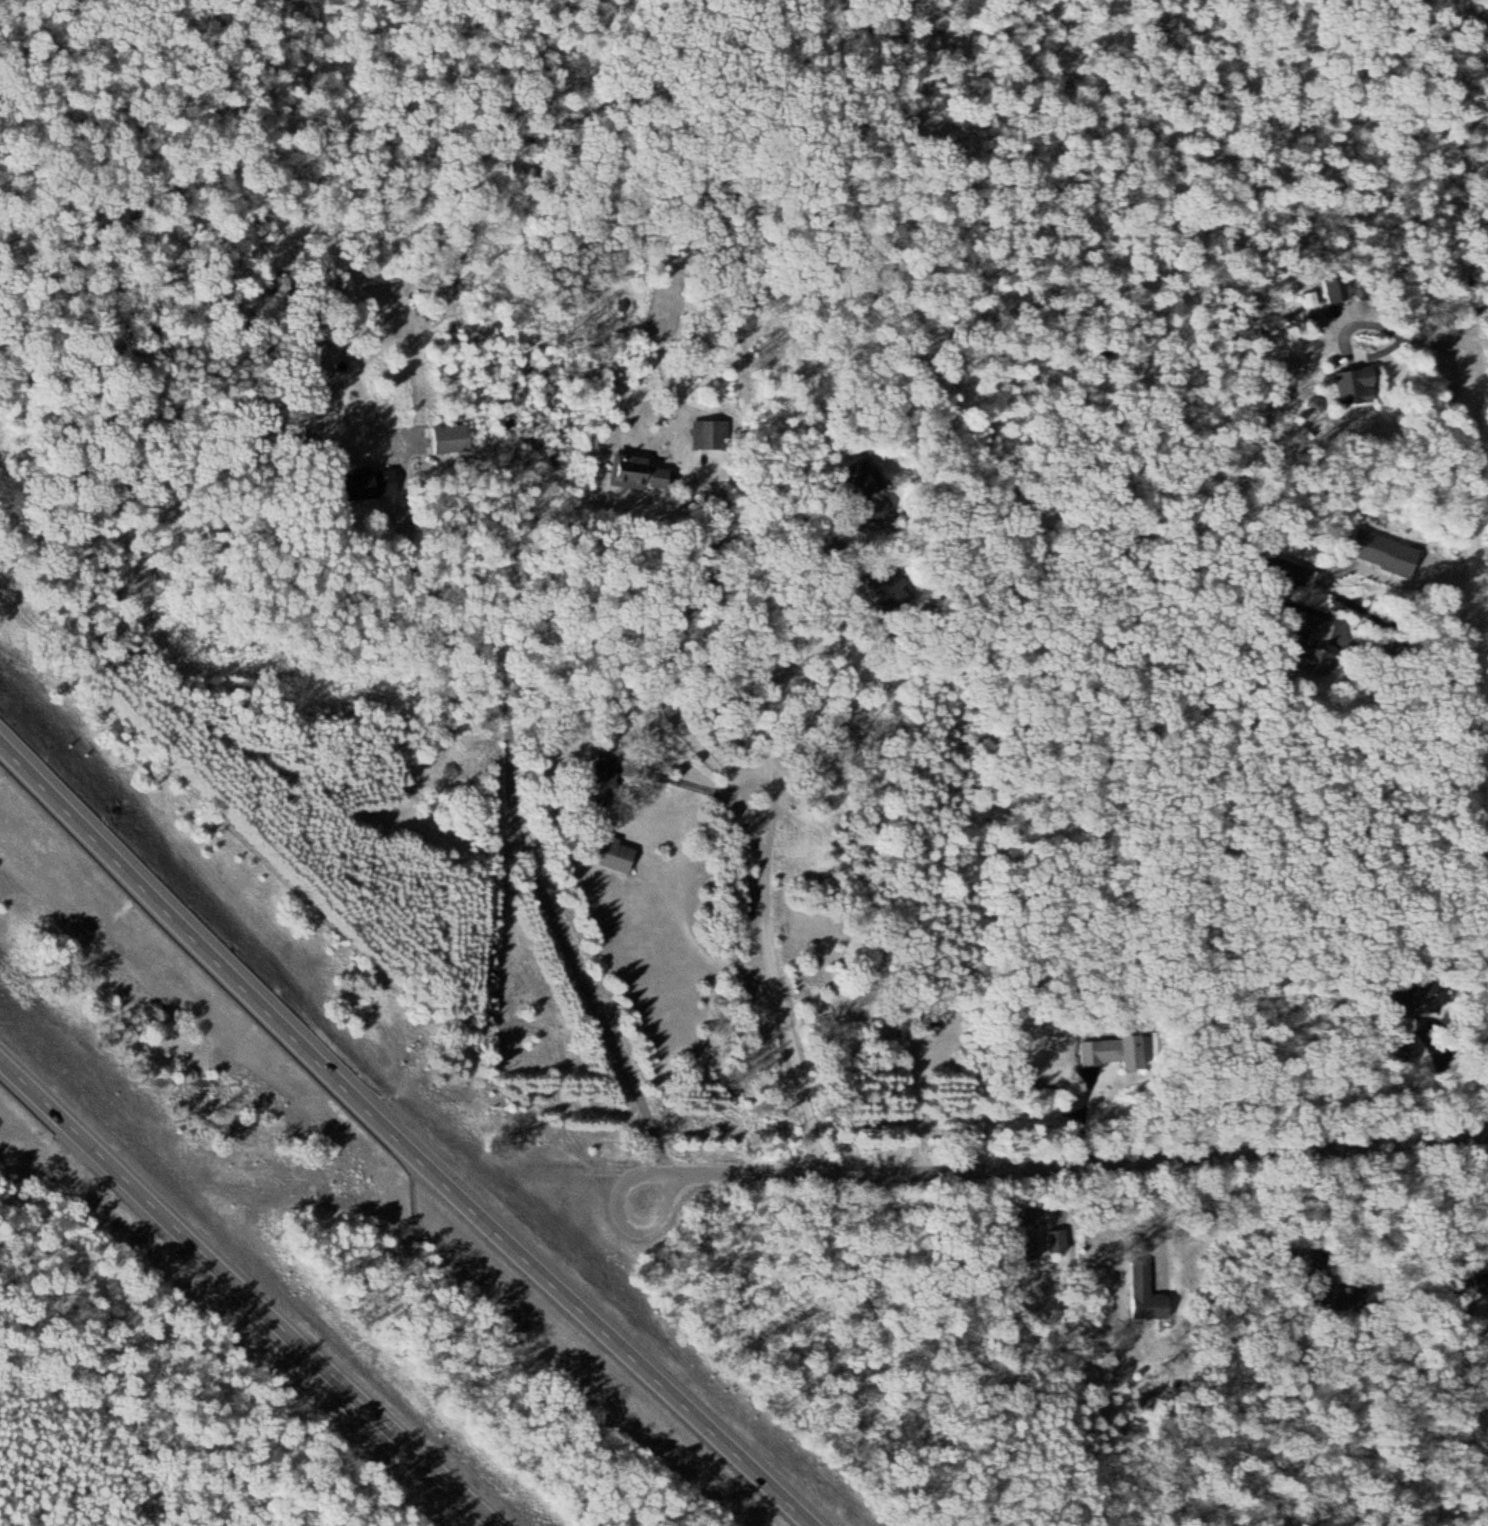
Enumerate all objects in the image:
building: (1359, 386)
building: (709, 434)
building: (454, 439)
building: (641, 473)
building: (871, 482)
building: (358, 486)
building: (1386, 552)
building: (1313, 640)
road: (504, 716)
building: (607, 773)
building: (618, 855)
road: (781, 894)
building: (1435, 992)
building: (1112, 1049)
road: (401, 1135)
road: (1103, 1156)
road: (691, 1172)
road: (653, 1184)
building: (1059, 1240)
building: (1032, 1245)
road: (250, 1293)
building: (1148, 1294)

